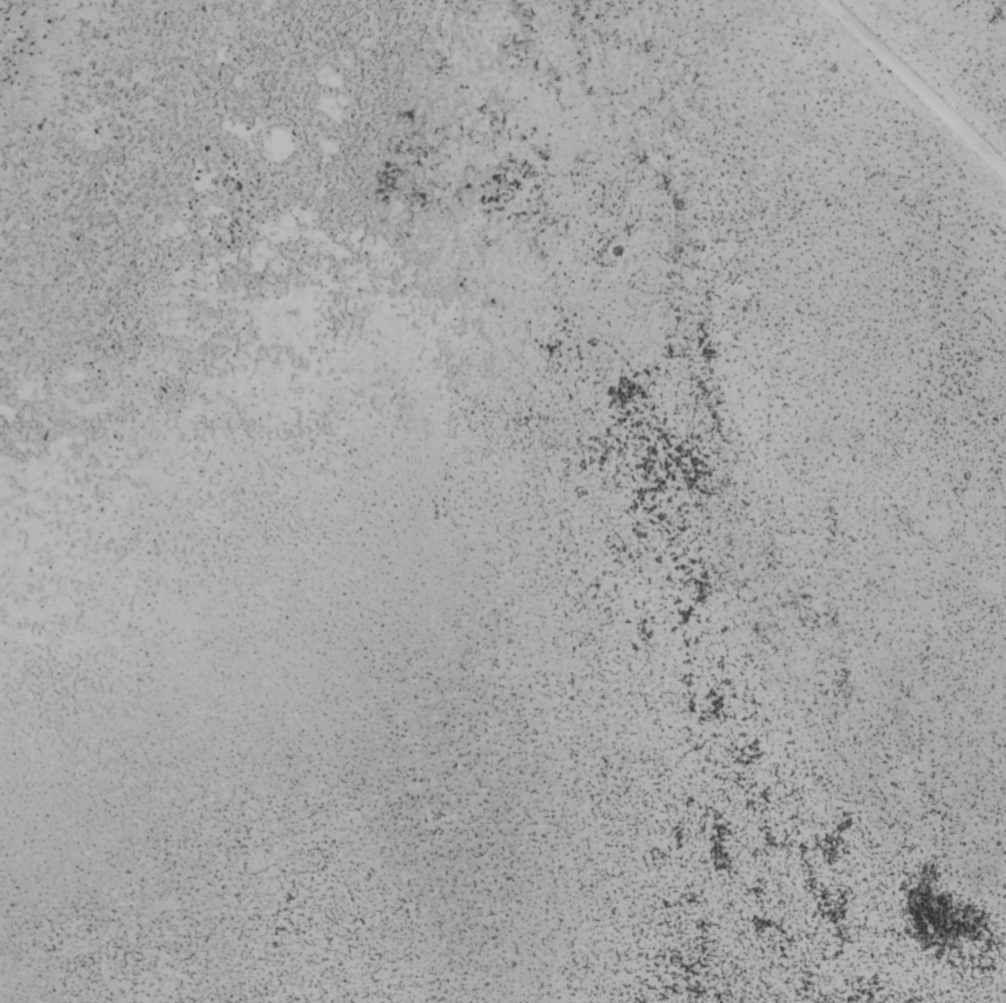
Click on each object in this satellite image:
road: (917, 84)

